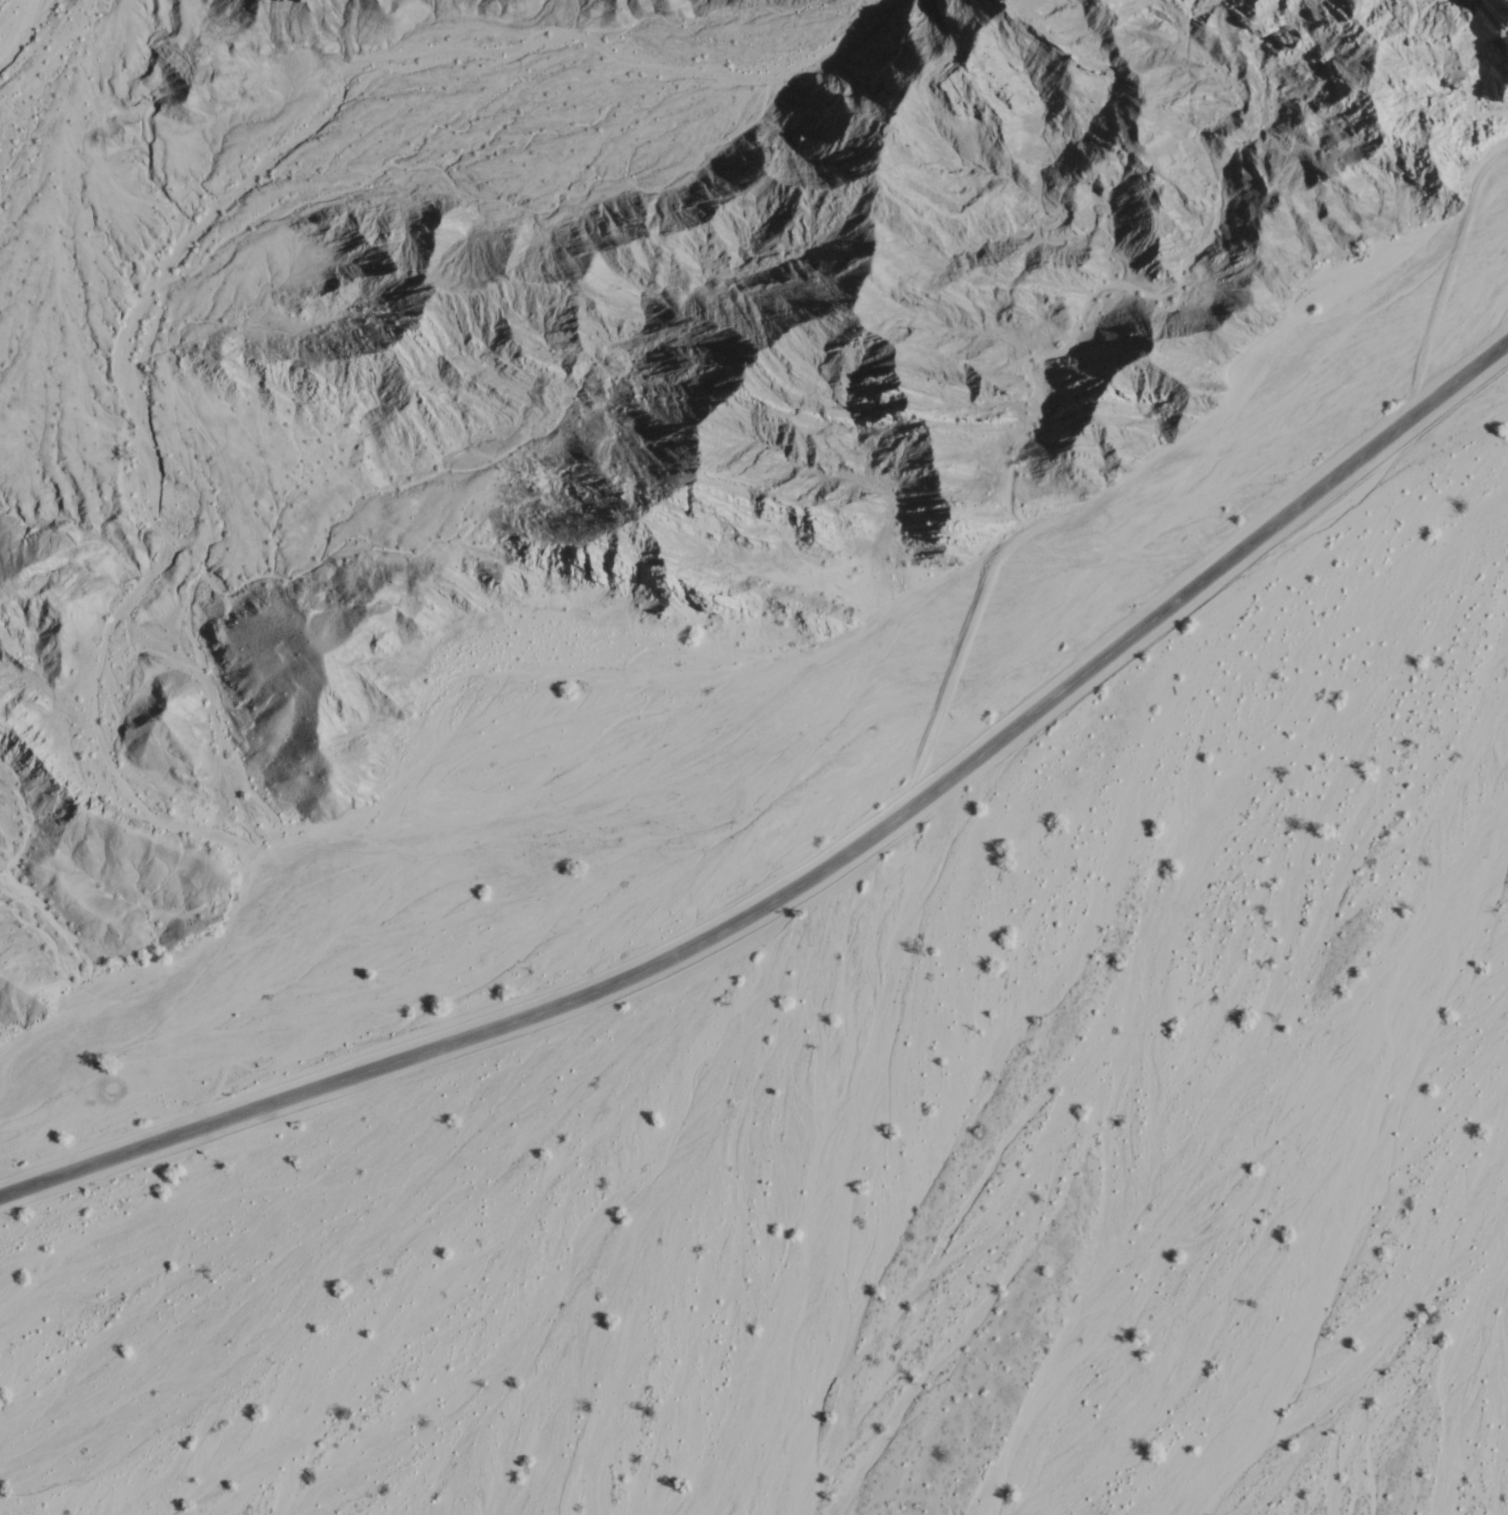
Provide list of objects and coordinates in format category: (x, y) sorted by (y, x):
road: (813, 875)

